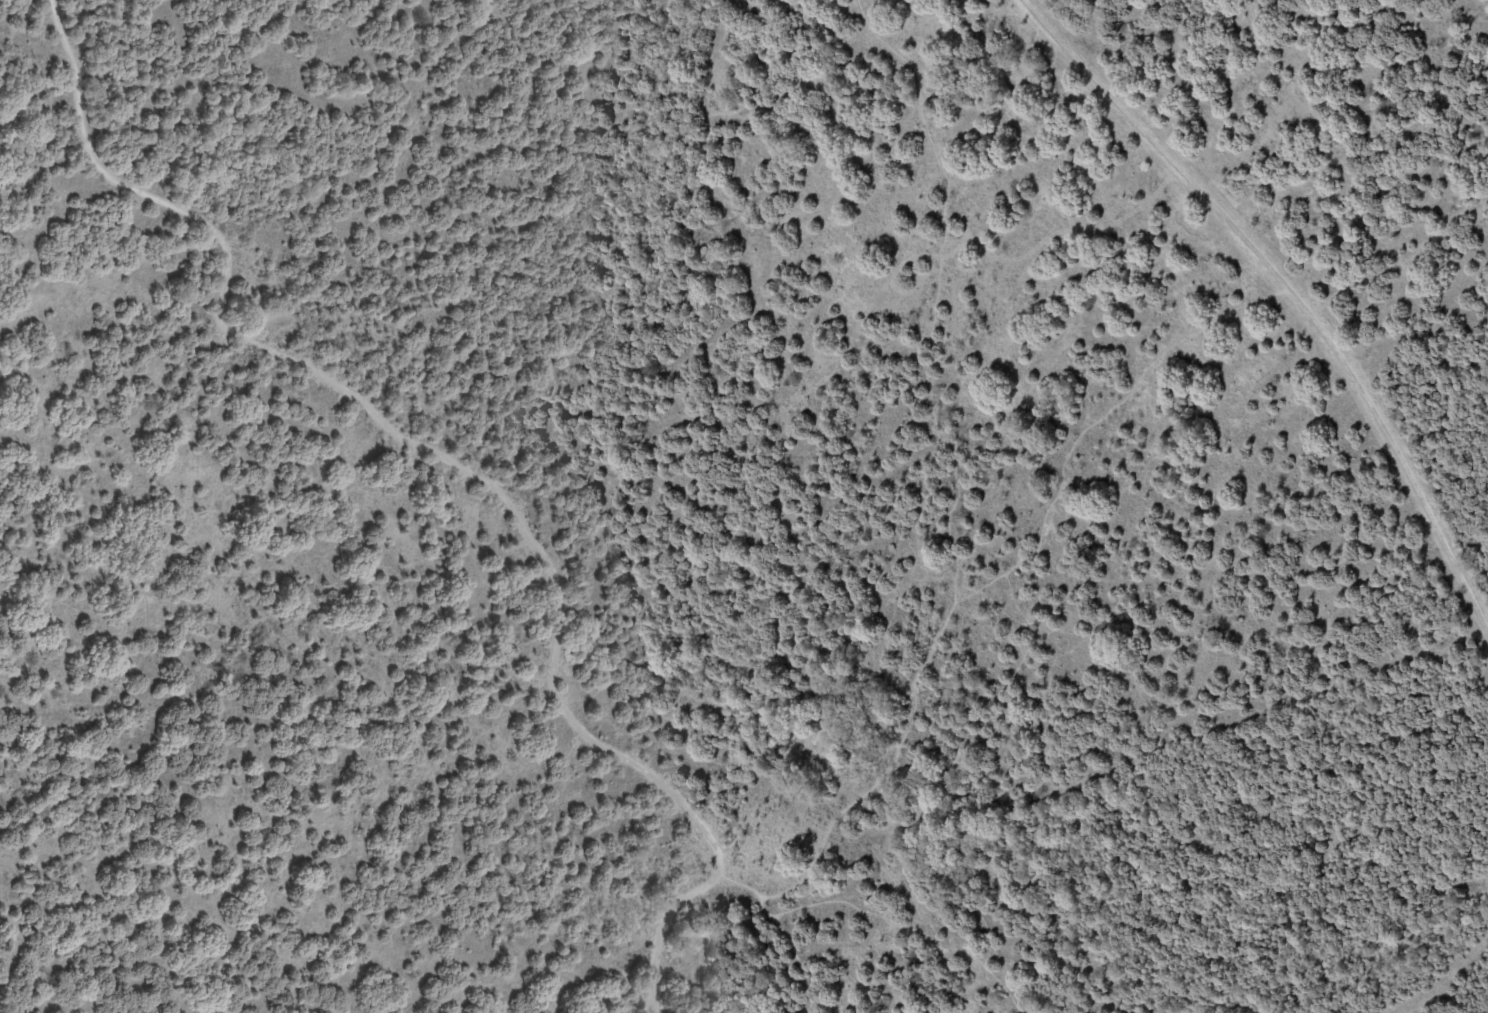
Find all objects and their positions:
road: (546, 71)
road: (1394, 263)
road: (1282, 305)
road: (1096, 419)
road: (953, 469)
road: (466, 471)
park: (744, 506)
road: (758, 901)
road: (919, 939)
road: (22, 944)
road: (798, 962)
road: (502, 983)
road: (409, 1011)

